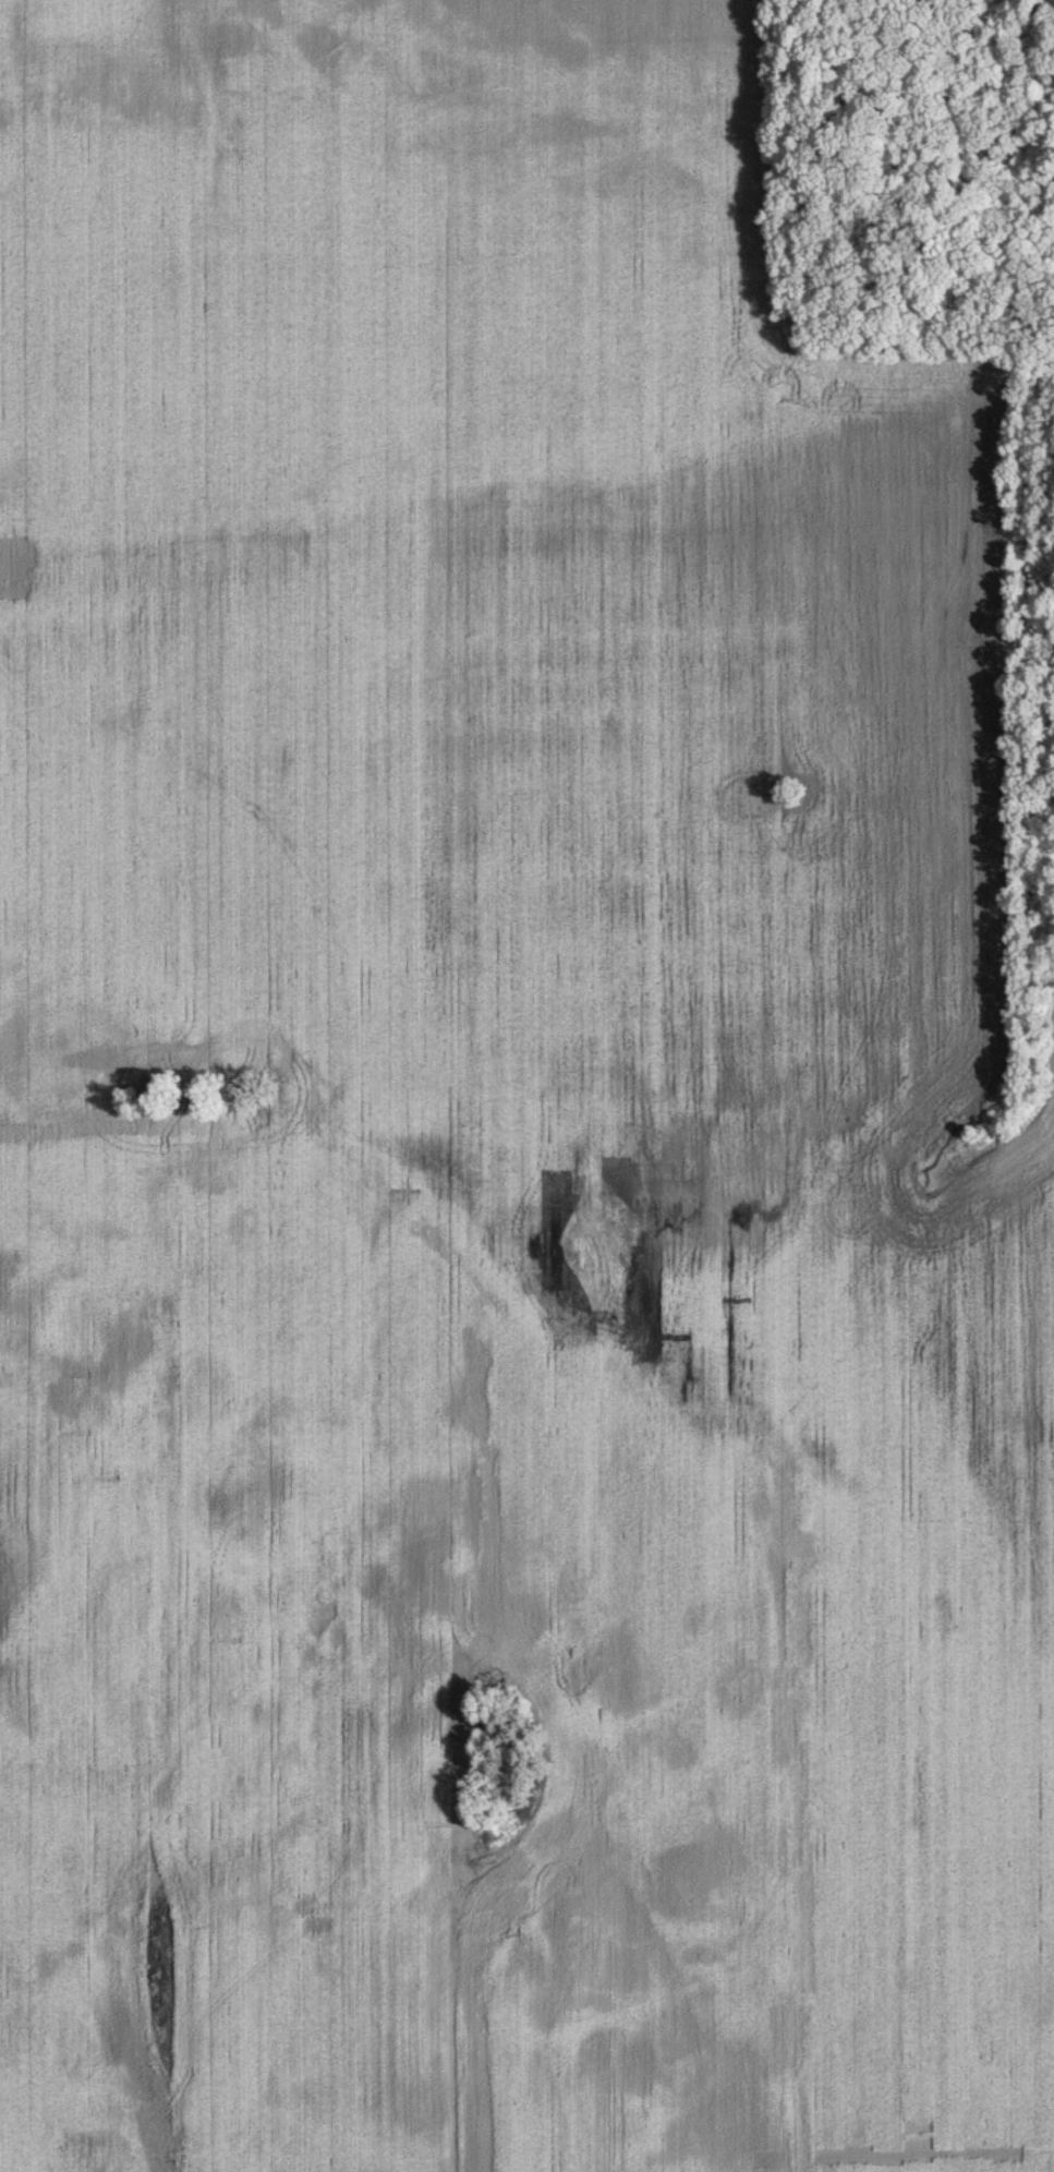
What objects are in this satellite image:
road: (68, 1119)

